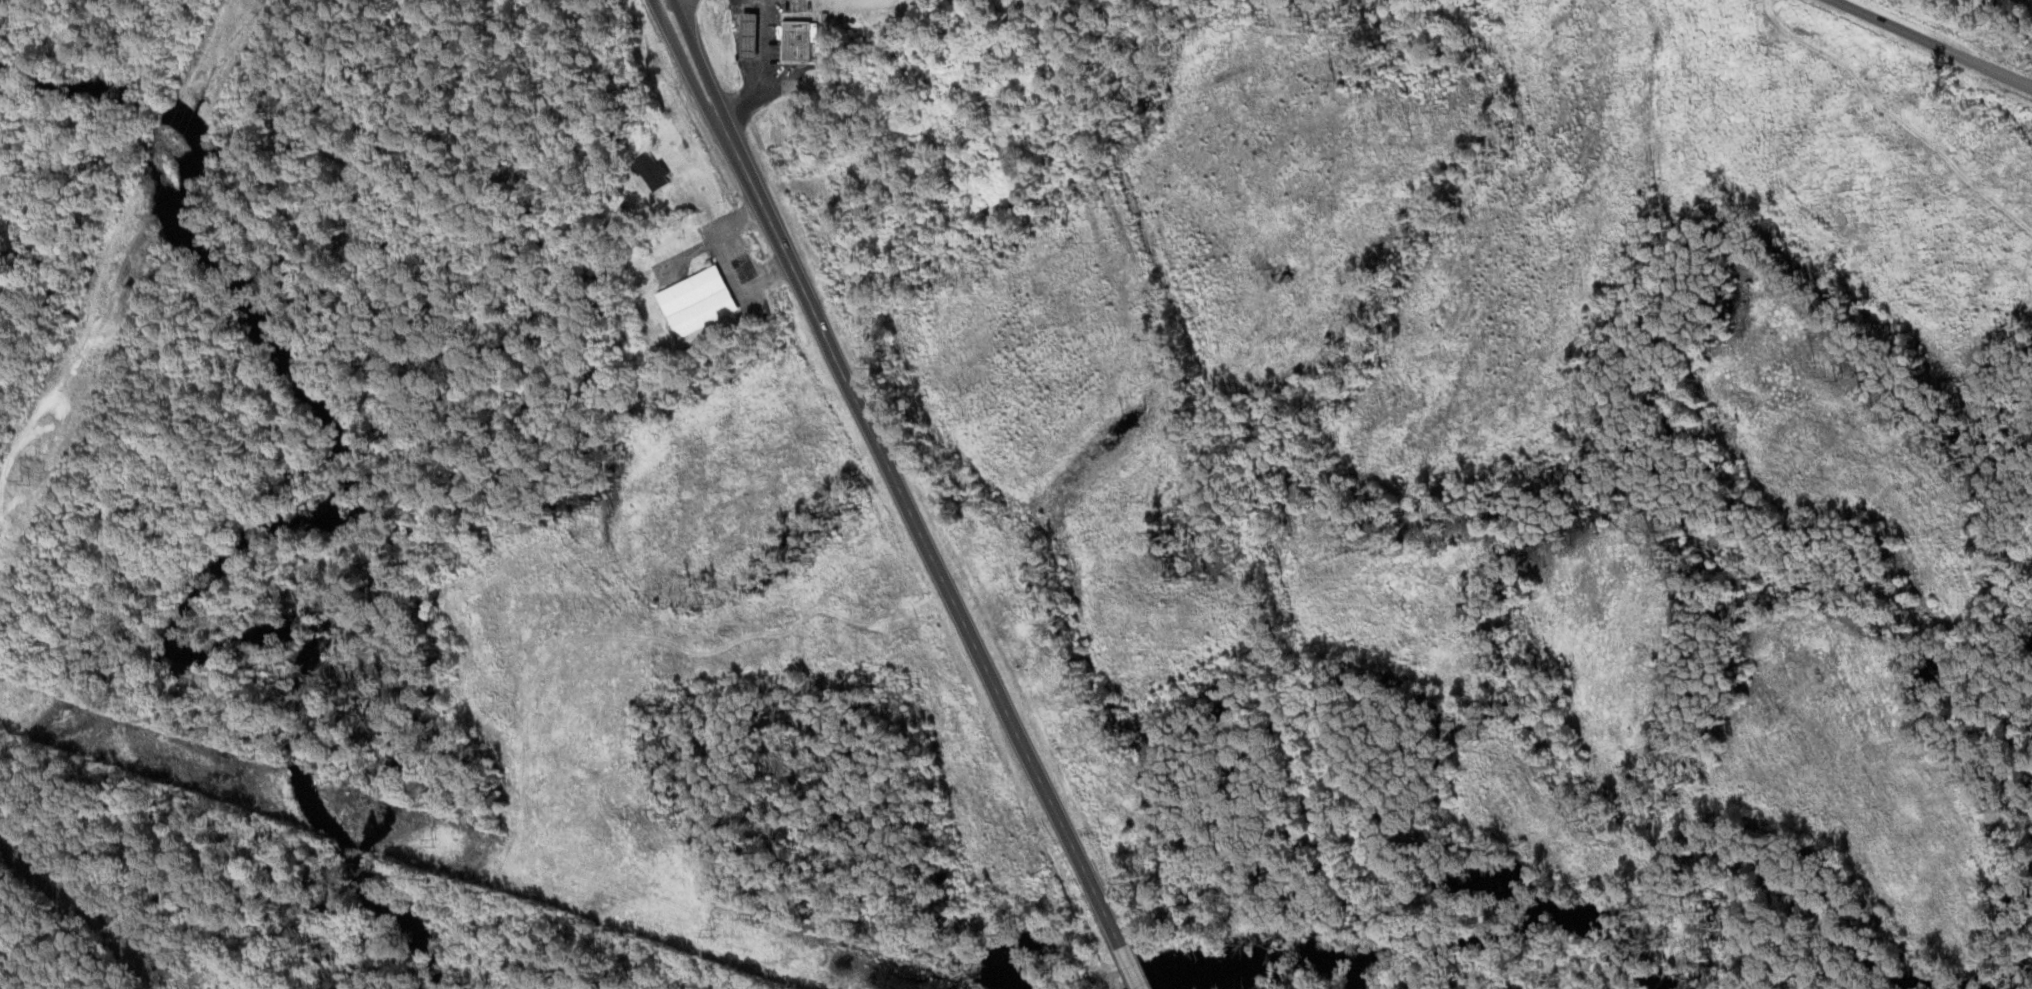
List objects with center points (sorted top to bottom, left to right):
building: (897, 0)
building: (755, 39)
road: (1936, 39)
building: (801, 41)
building: (659, 171)
building: (703, 301)
road: (893, 471)
power tower: (27, 477)
power tower: (437, 842)
power tower: (714, 931)
road: (1132, 966)

